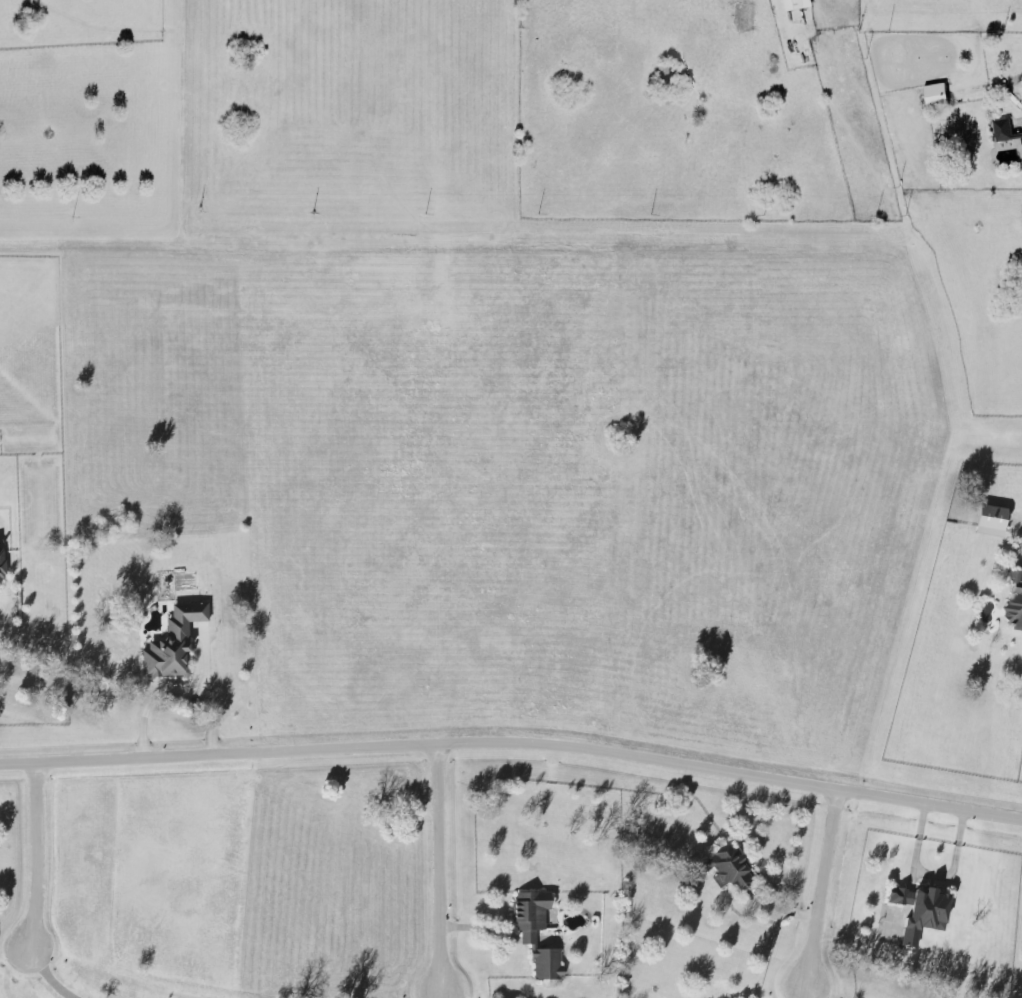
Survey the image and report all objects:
building: (795, 3)
building: (934, 93)
building: (1003, 127)
building: (990, 521)
building: (2, 564)
building: (1014, 603)
building: (173, 643)
road: (210, 694)
road: (153, 700)
road: (513, 746)
road: (33, 859)
road: (439, 870)
building: (727, 870)
road: (931, 877)
road: (818, 891)
building: (920, 912)
building: (525, 938)
road: (50, 977)
road: (799, 993)
road: (805, 993)
road: (441, 997)

